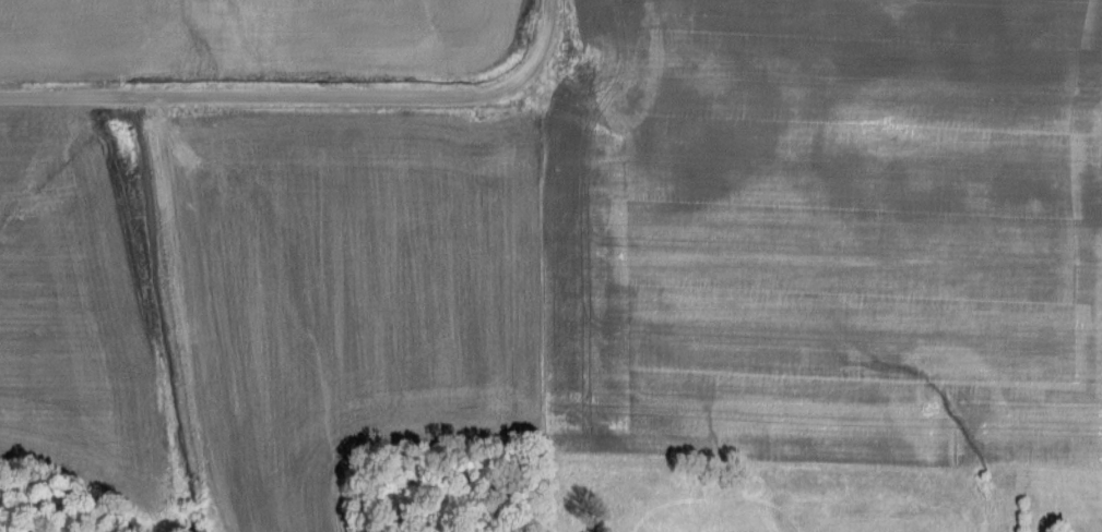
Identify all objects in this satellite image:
road: (303, 96)

